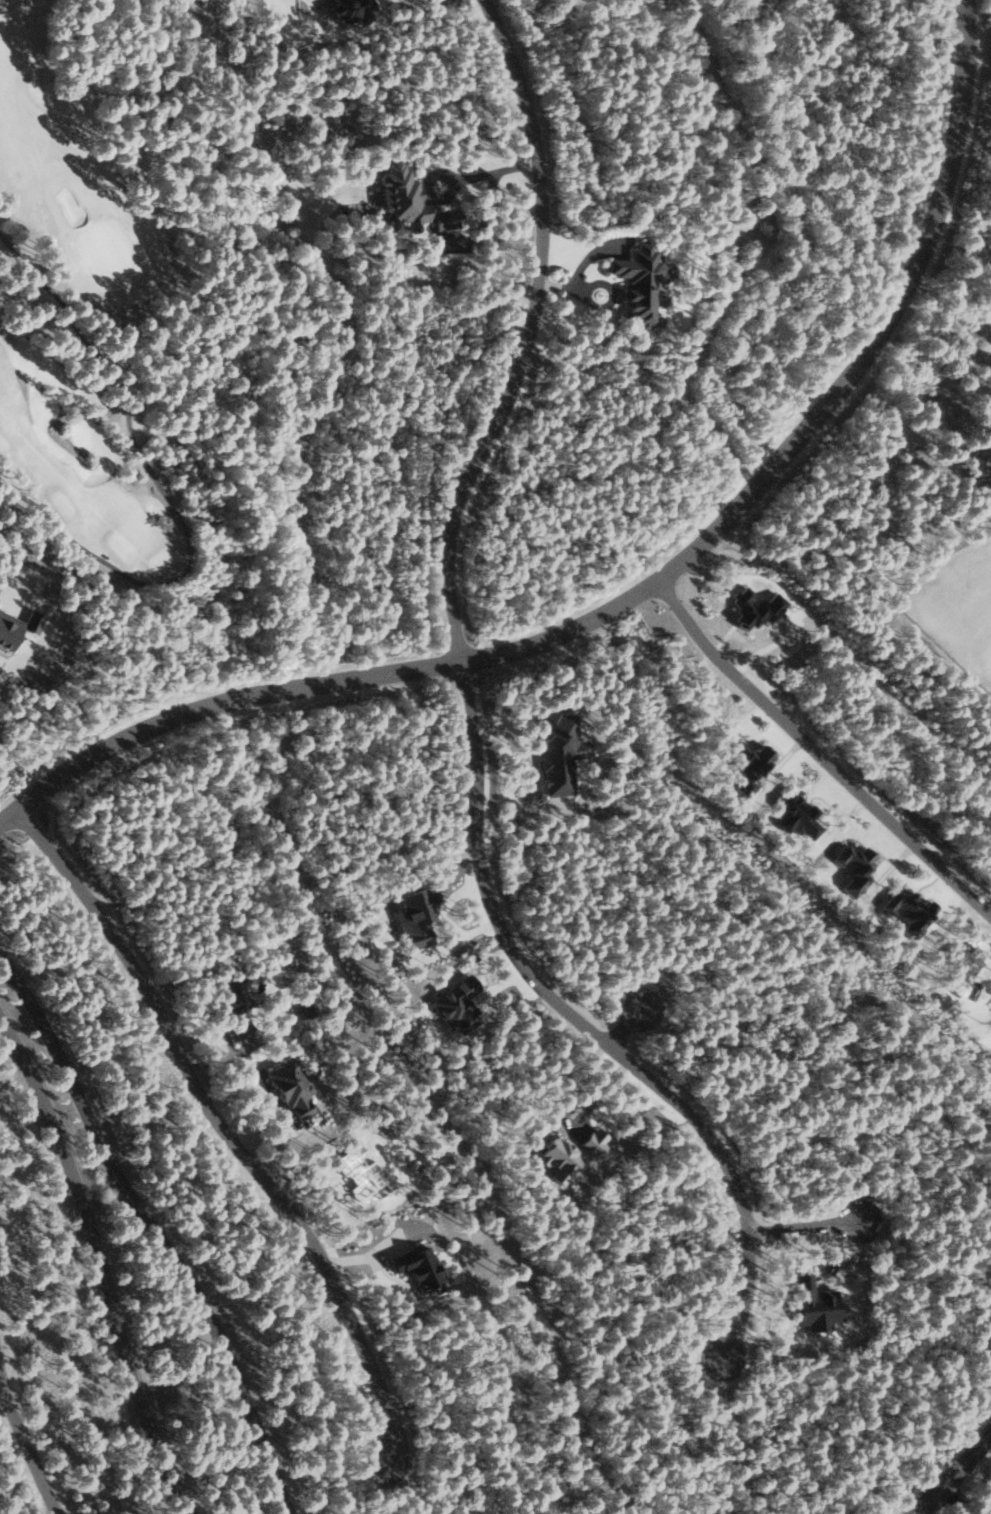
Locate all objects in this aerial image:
building: (352, 10)
road: (490, 173)
building: (410, 200)
building: (638, 281)
road: (531, 331)
park: (90, 333)
road: (826, 413)
road: (808, 550)
park: (958, 606)
building: (17, 627)
road: (218, 705)
road: (820, 750)
building: (558, 752)
building: (750, 766)
building: (856, 868)
building: (911, 911)
building: (416, 918)
building: (457, 1004)
building: (236, 1006)
road: (589, 1024)
road: (630, 1024)
building: (290, 1089)
road: (232, 1125)
building: (570, 1154)
road: (161, 1221)
road: (811, 1226)
road: (106, 1256)
building: (419, 1266)
road: (23, 1423)
road: (922, 1445)
road: (956, 1474)

